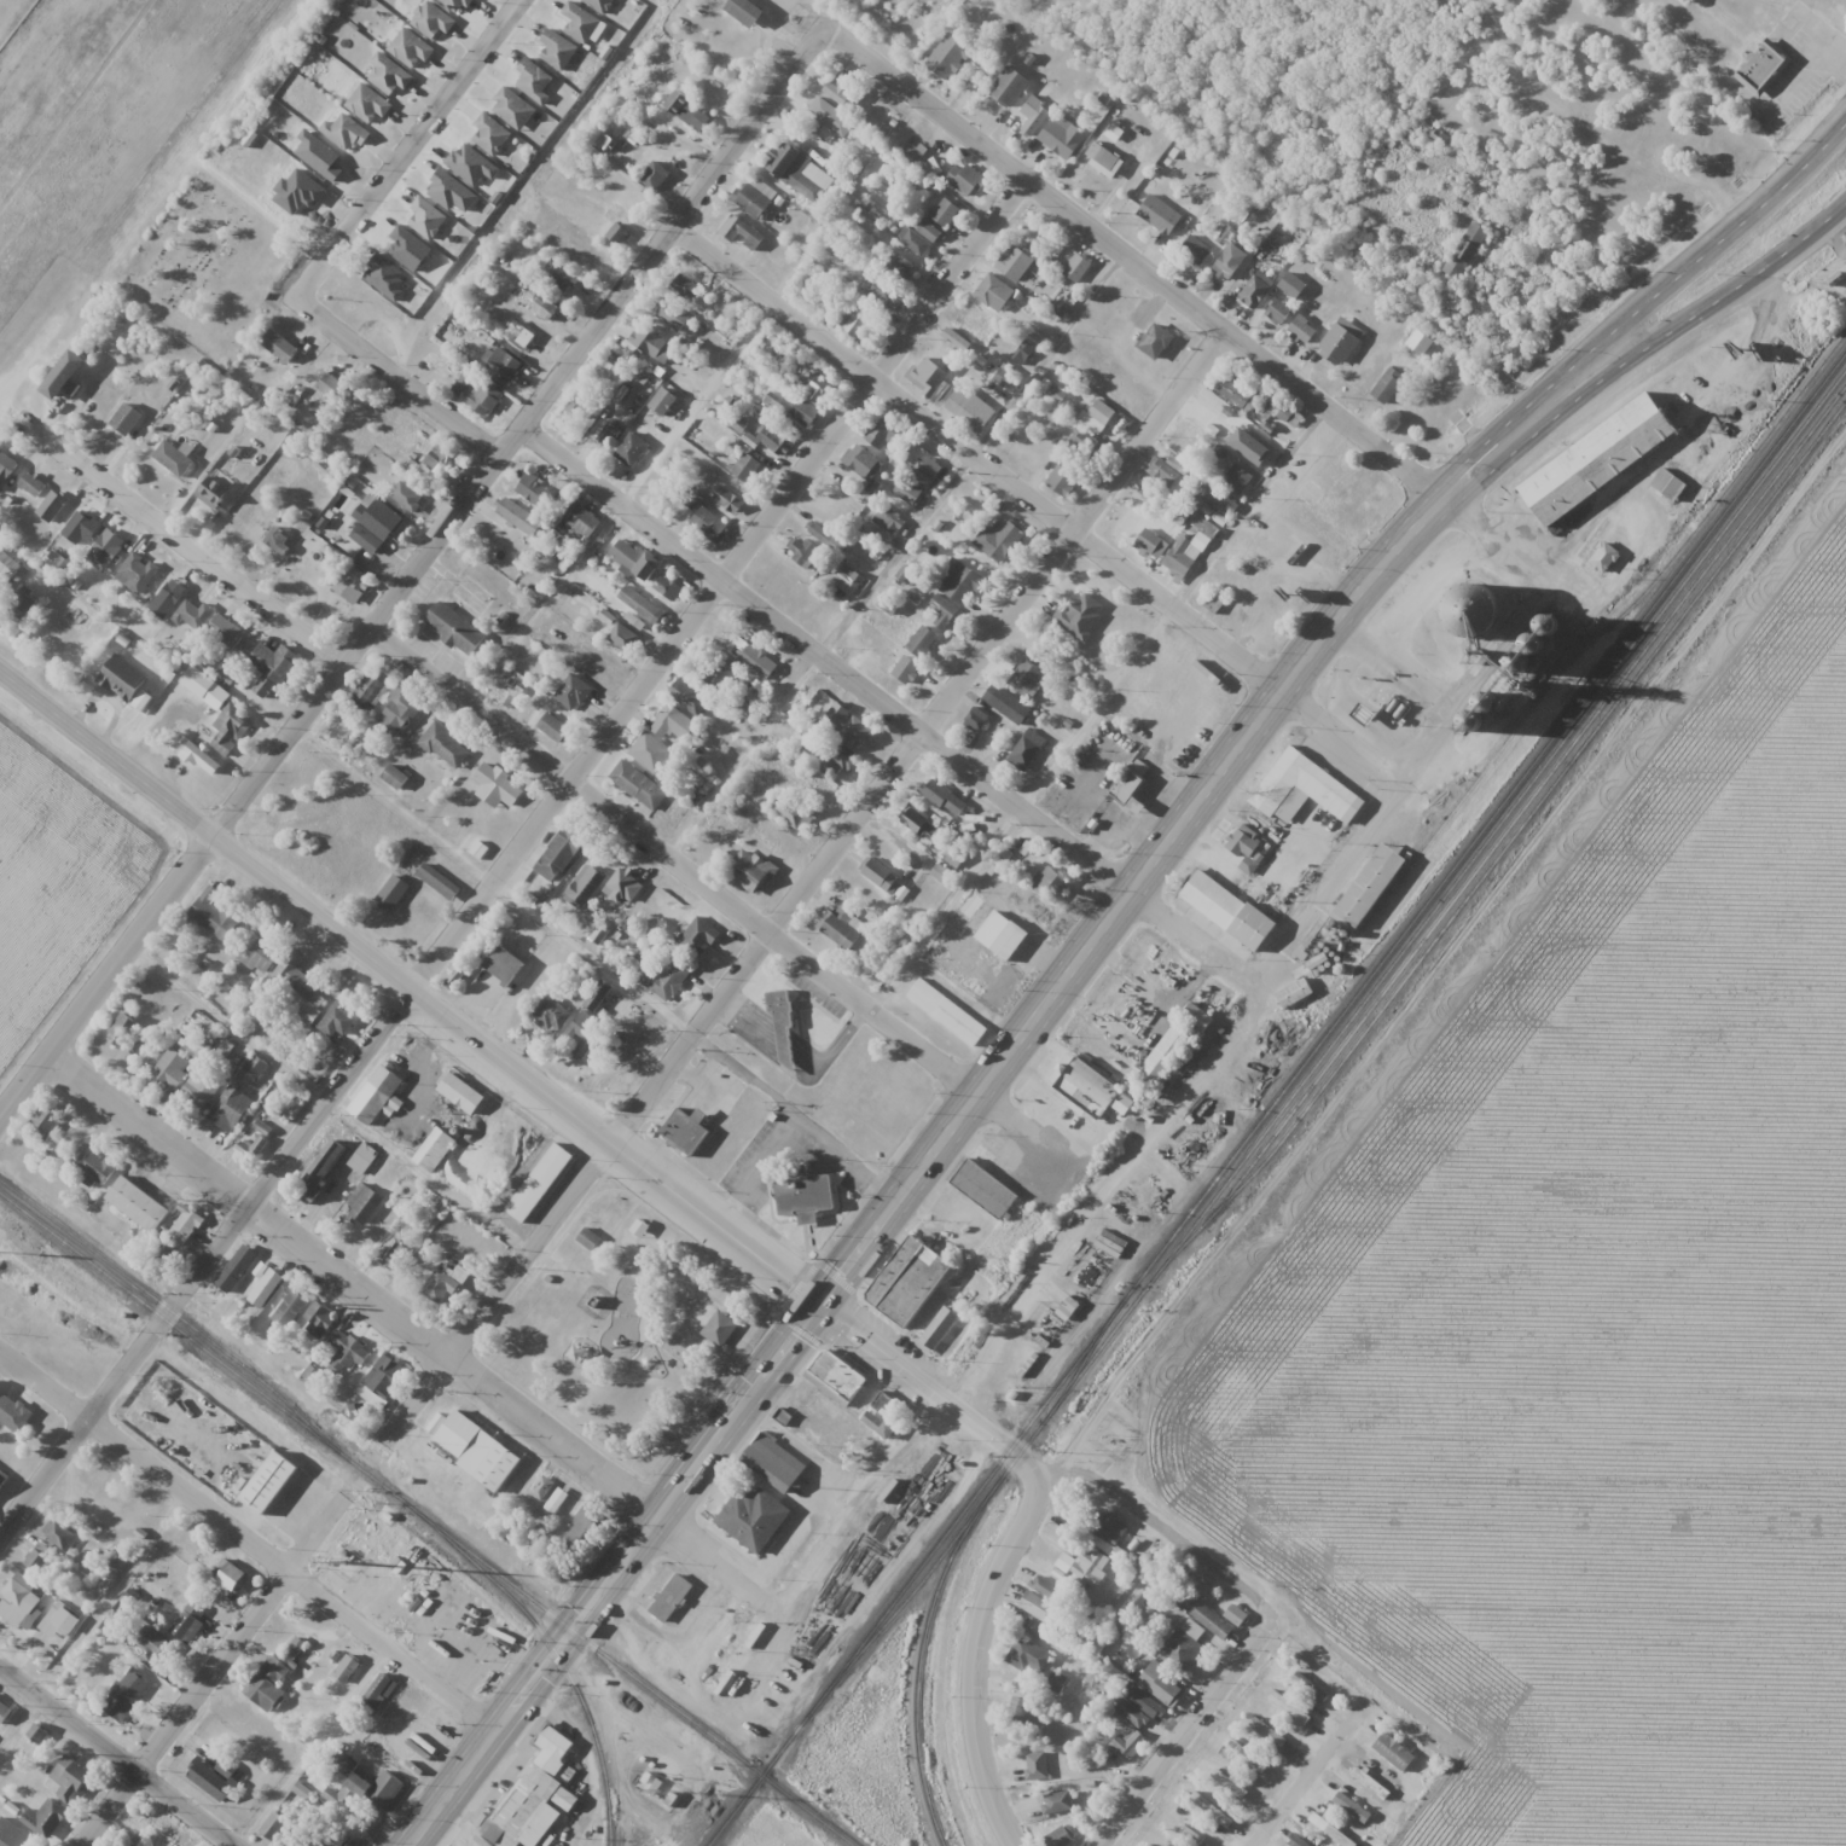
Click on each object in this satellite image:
building: (748, 12)
building: (950, 57)
building: (1764, 68)
building: (1010, 87)
building: (843, 91)
crop: (86, 111)
building: (689, 111)
building: (831, 117)
building: (1037, 120)
building: (1060, 138)
road: (413, 145)
building: (801, 173)
building: (655, 176)
building: (452, 191)
building: (756, 197)
building: (945, 213)
building: (1160, 215)
building: (928, 231)
building: (743, 233)
road: (1804, 237)
building: (919, 245)
building: (586, 249)
building: (1463, 249)
building: (1196, 250)
building: (1014, 263)
building: (902, 265)
building: (1225, 267)
building: (1078, 268)
park: (205, 271)
building: (561, 275)
building: (689, 286)
building: (1256, 290)
building: (888, 294)
building: (994, 294)
building: (1284, 298)
road: (1194, 306)
road: (1638, 307)
building: (545, 308)
building: (677, 318)
building: (854, 319)
building: (1302, 330)
building: (521, 337)
building: (1342, 341)
building: (1156, 342)
building: (1420, 342)
building: (656, 347)
building: (283, 349)
building: (507, 366)
road: (400, 372)
building: (66, 377)
building: (929, 377)
road: (1597, 381)
building: (331, 384)
building: (1388, 384)
building: (815, 385)
building: (1237, 394)
building: (488, 402)
building: (667, 402)
building: (727, 405)
building: (579, 407)
building: (970, 410)
building: (1102, 412)
building: (1209, 412)
building: (807, 416)
building: (130, 422)
building: (608, 434)
building: (771, 440)
building: (884, 440)
building: (1085, 445)
building: (1254, 445)
building: (633, 451)
building: (436, 458)
road: (980, 460)
building: (1601, 460)
building: (178, 461)
building: (864, 463)
building: (6, 465)
building: (745, 468)
building: (933, 470)
building: (1163, 474)
building: (1237, 478)
building: (1062, 481)
building: (34, 487)
building: (535, 489)
building: (907, 494)
building: (407, 495)
building: (213, 498)
building: (730, 500)
building: (53, 507)
road: (1040, 509)
road: (1250, 510)
building: (518, 516)
building: (889, 521)
building: (584, 522)
building: (709, 523)
building: (75, 526)
building: (378, 526)
building: (828, 538)
building: (278, 540)
building: (1004, 544)
building: (1151, 544)
building: (110, 548)
road: (192, 550)
building: (801, 552)
building: (1185, 553)
building: (628, 556)
building: (1603, 558)
building: (5, 569)
building: (654, 569)
building: (139, 576)
road: (411, 577)
building: (848, 579)
building: (349, 585)
building: (964, 585)
building: (671, 588)
building: (21, 603)
building: (642, 605)
building: (187, 609)
building: (944, 613)
building: (1479, 613)
building: (1080, 615)
building: (225, 631)
building: (458, 631)
building: (623, 638)
building: (923, 643)
building: (751, 657)
building: (275, 663)
building: (720, 672)
building: (1032, 677)
building: (127, 679)
building: (203, 686)
building: (372, 695)
building: (576, 696)
building: (690, 698)
road: (893, 706)
building: (1487, 707)
building: (1009, 708)
building: (401, 710)
building: (977, 720)
building: (671, 722)
building: (848, 724)
building: (553, 726)
building: (231, 728)
building: (445, 744)
building: (1028, 747)
building: (651, 753)
building: (207, 762)
building: (841, 764)
building: (397, 778)
building: (638, 784)
building: (1128, 788)
building: (499, 789)
building: (1304, 789)
building: (941, 795)
building: (791, 811)
railway: (1529, 811)
building: (915, 817)
building: (1244, 841)
railway: (1497, 841)
road: (841, 848)
building: (954, 858)
road: (506, 860)
building: (561, 861)
building: (751, 870)
building: (1283, 871)
building: (881, 876)
crop: (57, 880)
building: (441, 883)
building: (1051, 883)
building: (623, 886)
building: (587, 887)
building: (1371, 889)
building: (395, 892)
building: (1214, 904)
road: (739, 913)
building: (213, 915)
building: (838, 927)
building: (703, 935)
building: (1004, 936)
building: (260, 953)
building: (505, 968)
building: (295, 975)
building: (664, 977)
road: (402, 987)
building: (1113, 991)
building: (1294, 993)
building: (598, 994)
building: (308, 1012)
building: (948, 1014)
building: (557, 1018)
building: (337, 1020)
railway: (1346, 1023)
building: (123, 1028)
road: (1017, 1033)
building: (582, 1035)
building: (1111, 1043)
building: (192, 1045)
building: (255, 1066)
building: (170, 1067)
building: (1086, 1082)
building: (198, 1092)
railway: (1275, 1097)
building: (377, 1098)
building: (230, 1108)
building: (472, 1108)
building: (46, 1121)
building: (687, 1133)
building: (255, 1139)
building: (435, 1151)
building: (362, 1157)
building: (95, 1168)
building: (320, 1169)
building: (541, 1185)
building: (986, 1191)
building: (808, 1201)
building: (364, 1204)
building: (140, 1207)
building: (186, 1225)
building: (133, 1236)
building: (588, 1238)
building: (167, 1248)
building: (394, 1255)
building: (234, 1271)
building: (446, 1275)
building: (911, 1282)
building: (265, 1288)
building: (291, 1305)
railway: (176, 1316)
crop: (1594, 1317)
building: (318, 1319)
park: (625, 1329)
building: (941, 1330)
building: (721, 1331)
road: (417, 1335)
building: (346, 1352)
railway: (1072, 1374)
building: (837, 1376)
building: (381, 1380)
road: (929, 1381)
building: (13, 1412)
building: (878, 1424)
building: (460, 1434)
road: (365, 1463)
building: (497, 1467)
building: (776, 1467)
building: (95, 1473)
building: (2, 1476)
building: (271, 1482)
building: (541, 1487)
building: (556, 1500)
building: (754, 1516)
railway: (428, 1519)
building: (575, 1526)
building: (1108, 1527)
road: (1157, 1528)
building: (59, 1534)
road: (246, 1539)
building: (39, 1557)
building: (1090, 1567)
building: (230, 1574)
building: (1045, 1587)
building: (671, 1598)
building: (18, 1602)
building: (1038, 1607)
building: (1207, 1616)
building: (1238, 1616)
building: (60, 1619)
building: (187, 1622)
building: (1037, 1630)
road: (542, 1644)
building: (153, 1645)
building: (1183, 1647)
road: (976, 1656)
building: (1028, 1656)
road: (562, 1659)
railway: (919, 1661)
building: (347, 1667)
railway: (563, 1667)
building: (273, 1674)
building: (1056, 1682)
building: (1161, 1683)
building: (378, 1693)
building: (127, 1694)
building: (1283, 1705)
building: (1016, 1706)
road: (187, 1709)
building: (1130, 1713)
road: (1183, 1729)
building: (1266, 1734)
building: (1127, 1741)
building: (1393, 1752)
road: (117, 1754)
building: (1037, 1763)
building: (71, 1778)
building: (213, 1778)
road: (1304, 1780)
building: (1370, 1783)
building: (1229, 1784)
road: (451, 1787)
building: (362, 1789)
building: (532, 1796)
building: (1057, 1803)
building: (1352, 1807)
building: (1212, 1811)
building: (46, 1818)
building: (273, 1825)
building: (1330, 1830)
building: (1060, 1838)
building: (1295, 1841)
building: (310, 1842)
building: (130, 1845)

